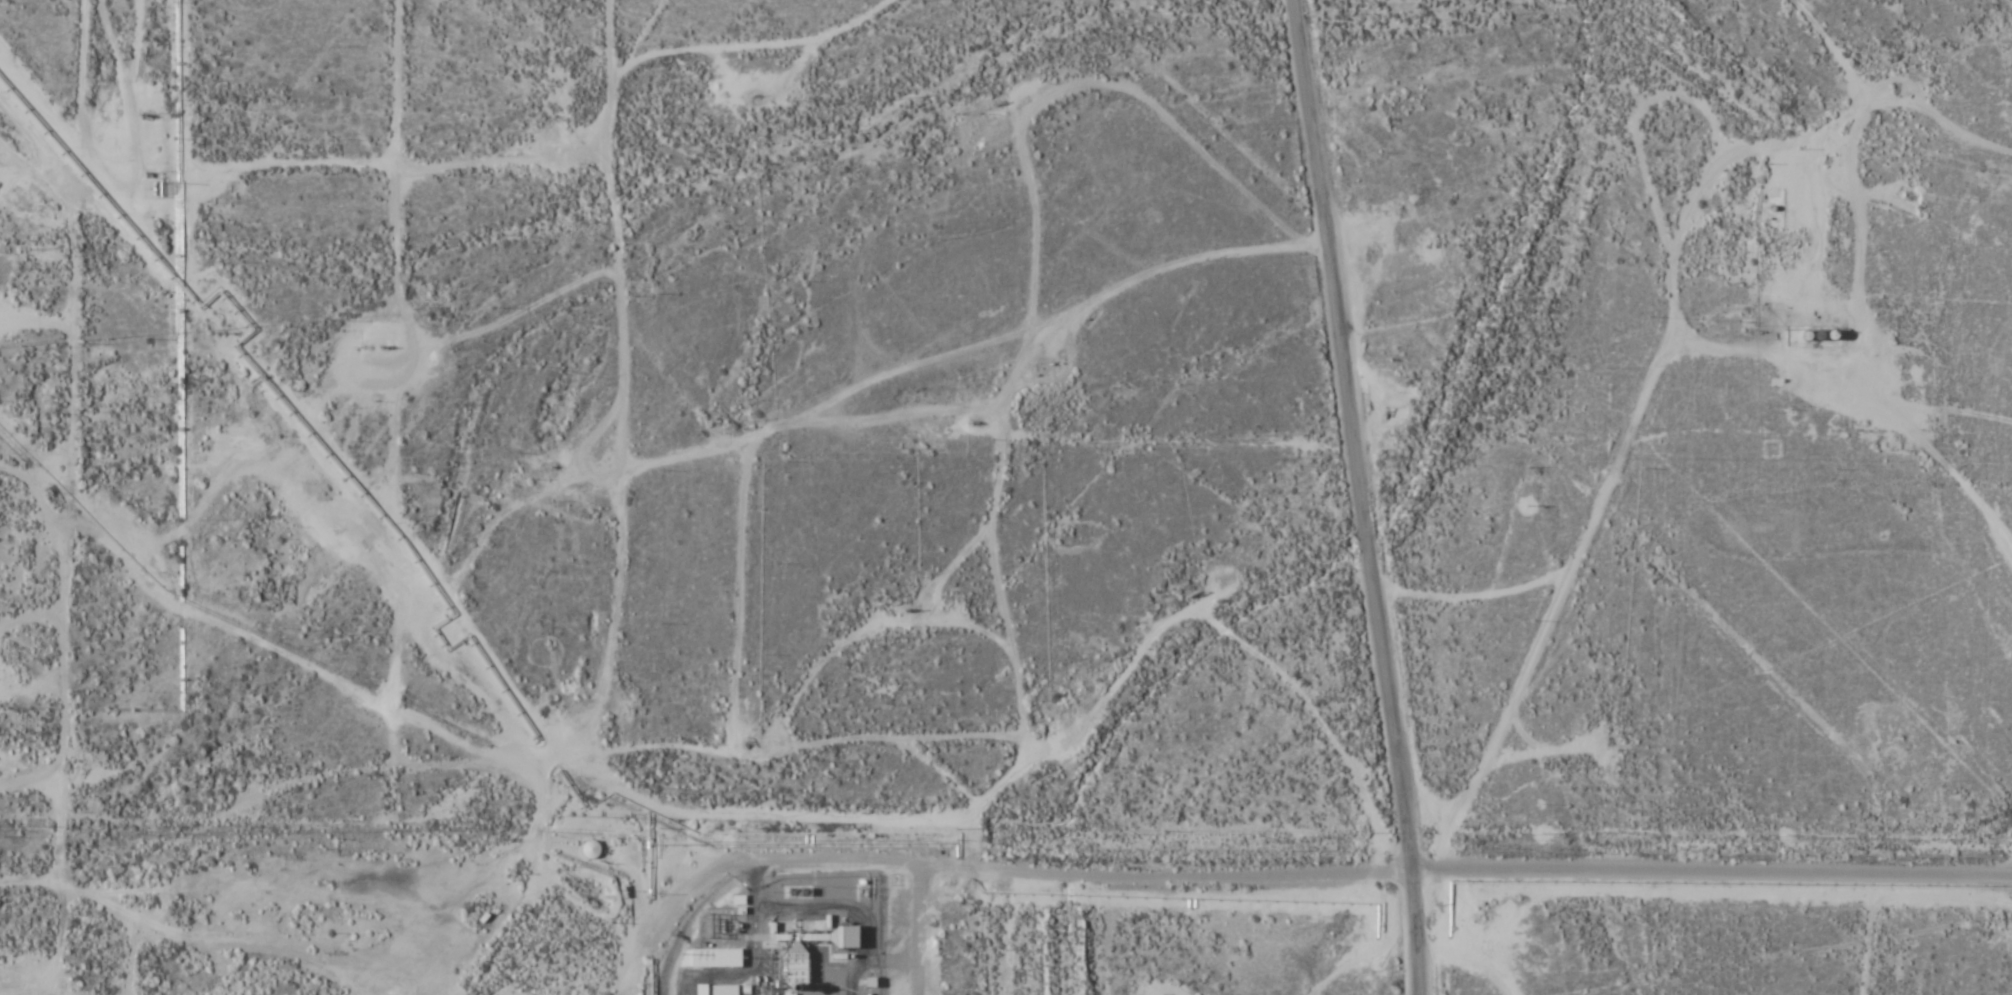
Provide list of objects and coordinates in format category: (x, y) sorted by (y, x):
road: (1203, 110)
road: (1617, 467)
road: (232, 472)
road: (1969, 472)
road: (1361, 496)
road: (70, 498)
road: (388, 558)
road: (935, 737)
road: (1987, 778)
building: (590, 849)
road: (1295, 876)
road: (921, 930)
road: (1471, 932)
road: (1340, 934)
building: (848, 936)
building: (710, 957)
building: (796, 970)
building: (700, 989)
building: (724, 989)

